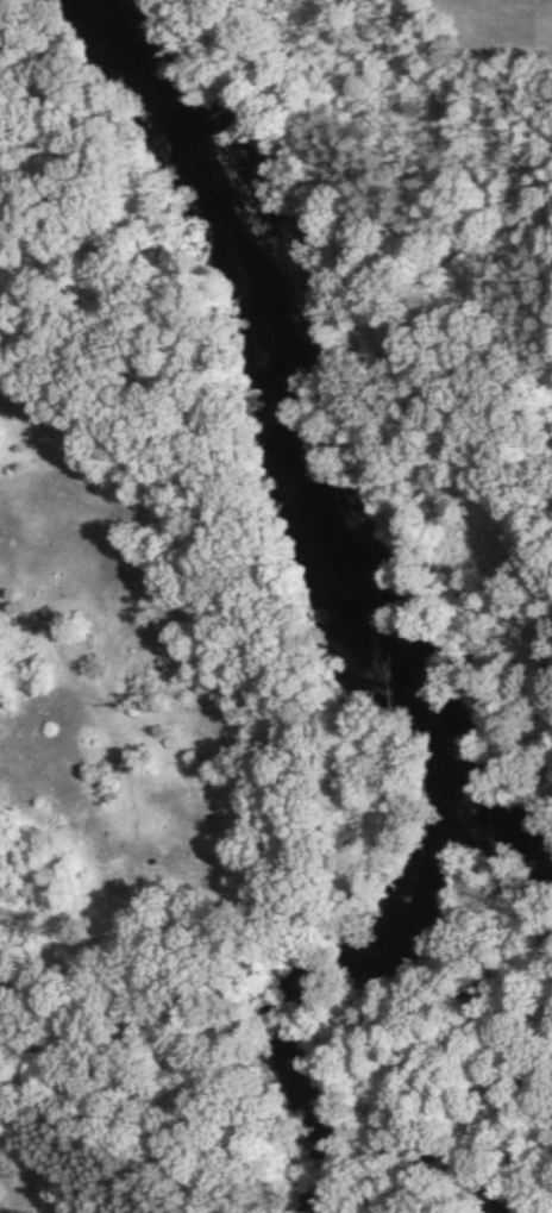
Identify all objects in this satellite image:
river: (326, 515)
river: (315, 1115)

